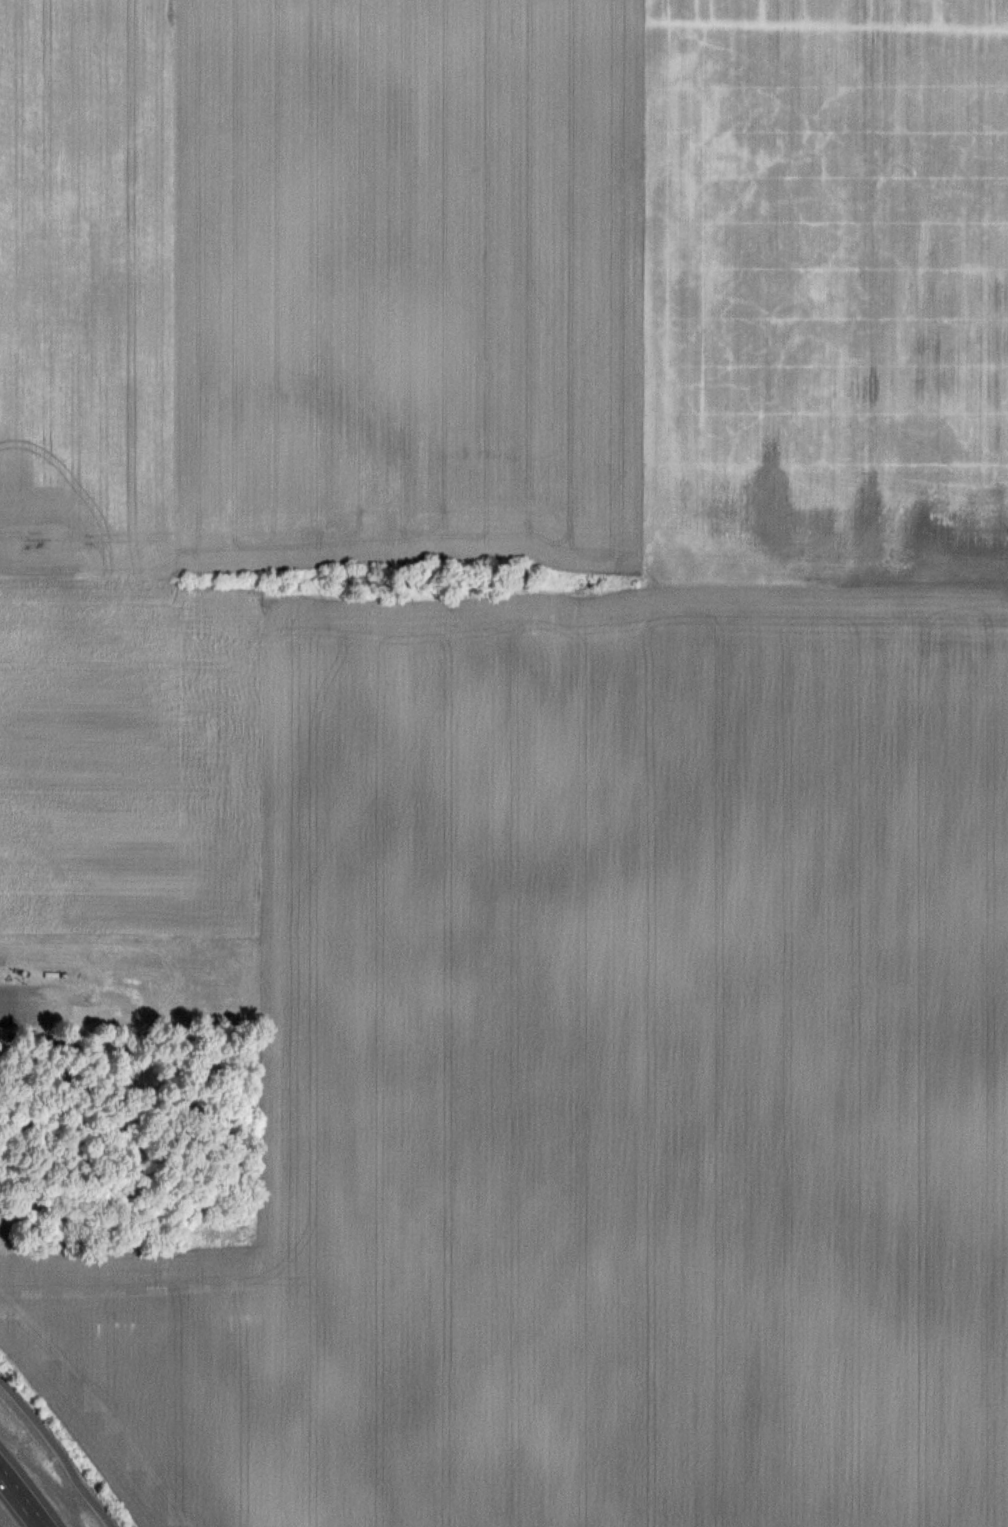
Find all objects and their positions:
road: (58, 1451)
road: (17, 1503)

